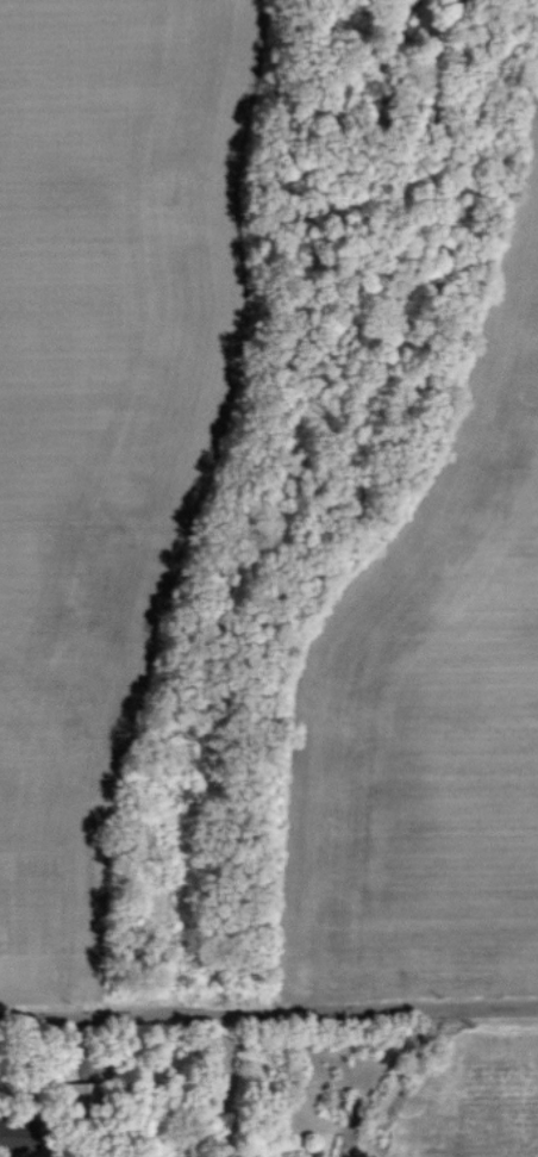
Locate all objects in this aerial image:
road: (268, 997)
road: (405, 1068)
building: (83, 1094)
building: (15, 1134)
road: (357, 1145)
road: (368, 1146)

